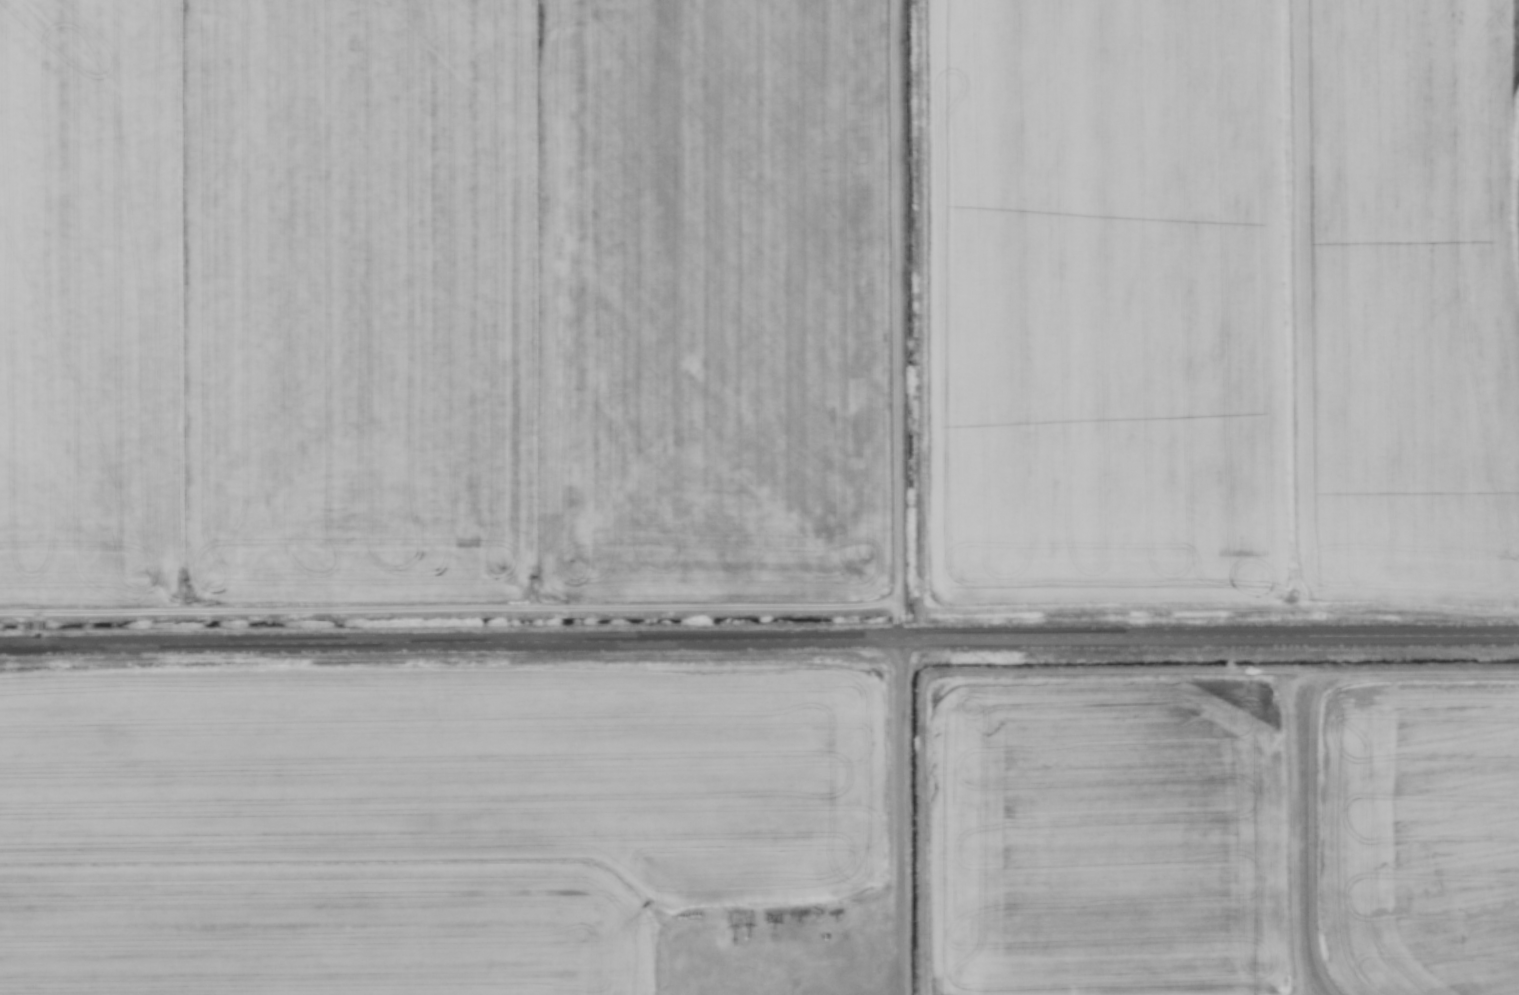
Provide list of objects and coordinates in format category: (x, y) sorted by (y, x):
road: (759, 642)
road: (899, 818)

